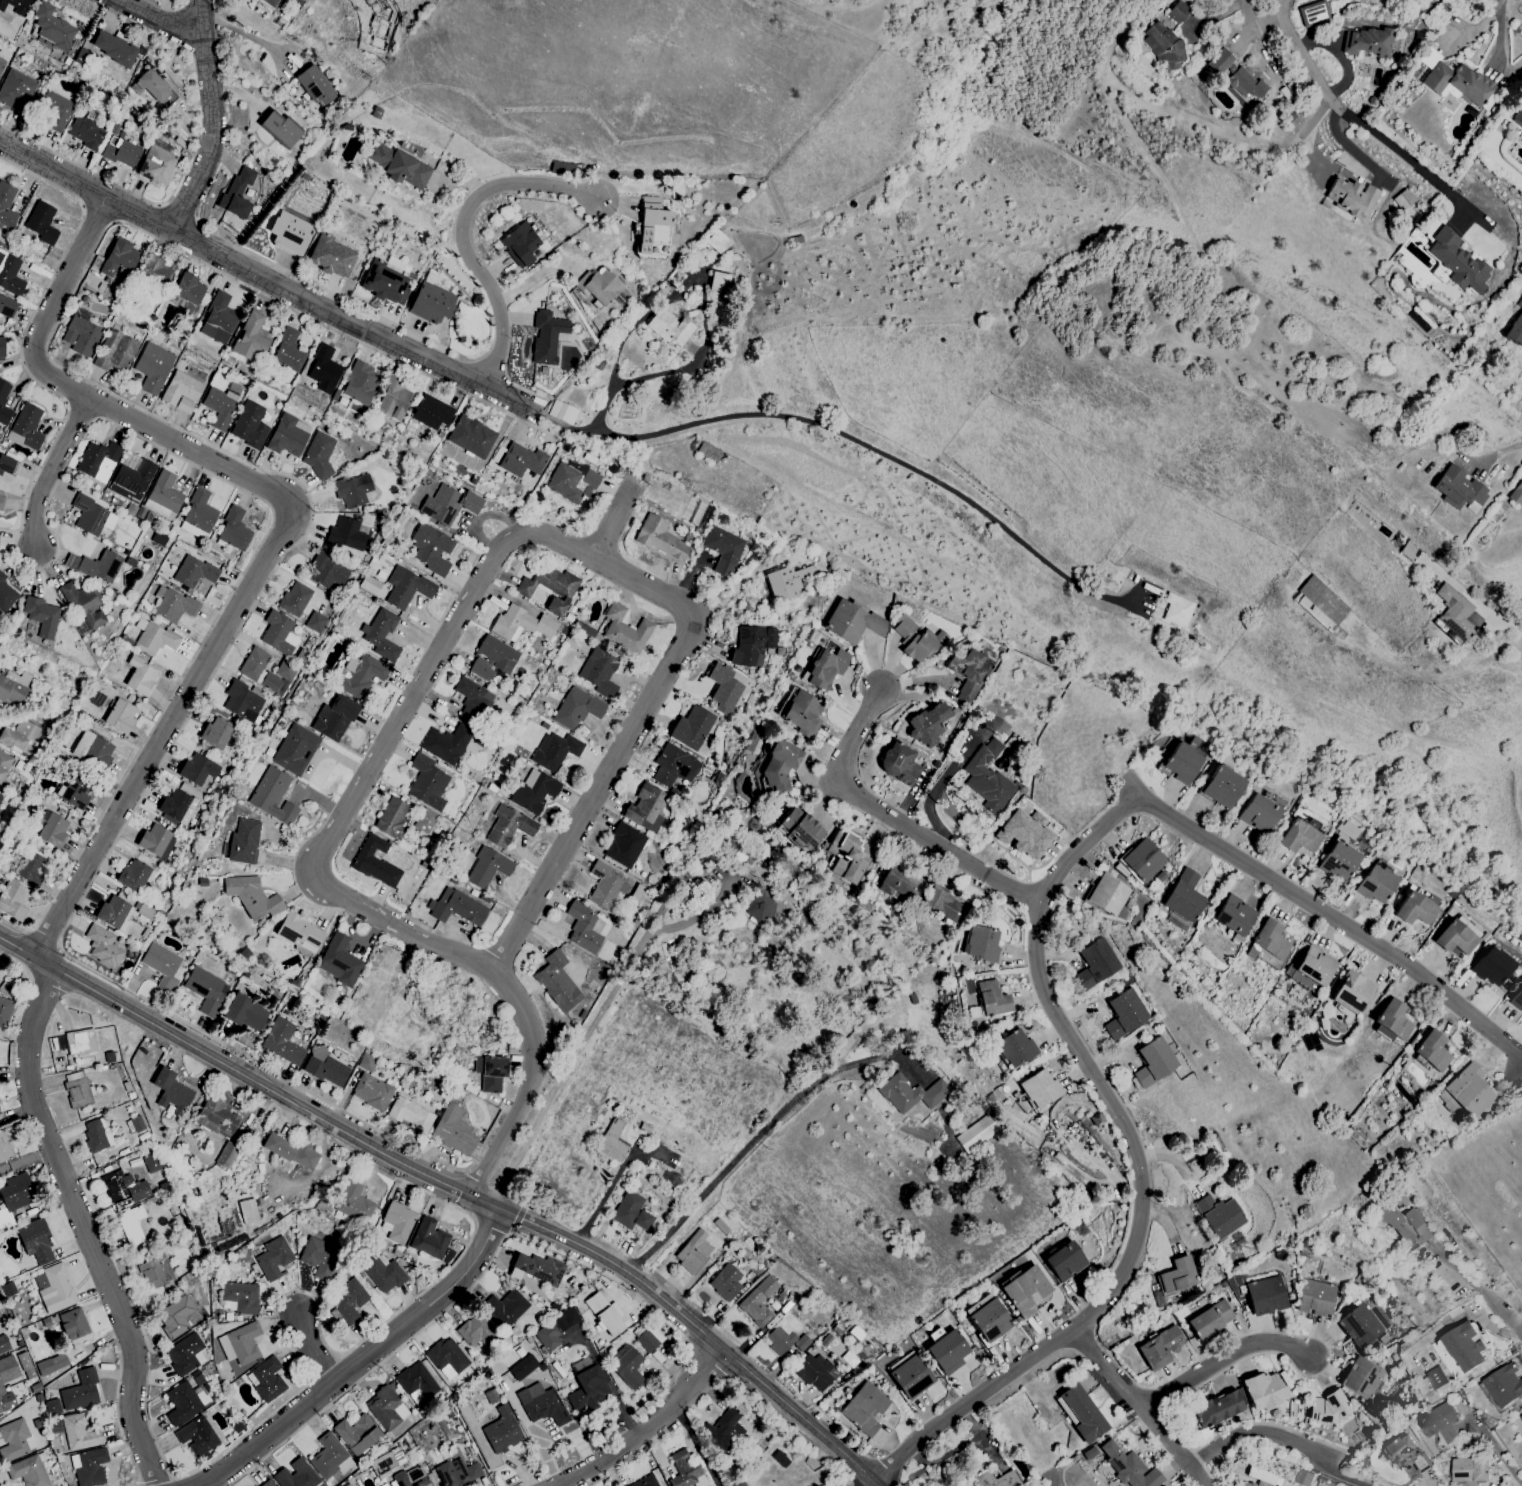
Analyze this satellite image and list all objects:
building: (270, 2)
building: (15, 6)
road: (1223, 7)
building: (1179, 14)
building: (1314, 15)
road: (162, 20)
building: (378, 23)
building: (52, 28)
building: (1369, 44)
road: (1499, 44)
building: (1166, 46)
building: (113, 49)
building: (1219, 62)
building: (1, 64)
building: (1423, 67)
building: (1456, 83)
building: (315, 87)
building: (1248, 88)
building: (155, 89)
building: (16, 90)
building: (54, 111)
road: (209, 119)
building: (1517, 119)
road: (1362, 128)
building: (280, 130)
building: (86, 133)
road: (1310, 135)
road: (1352, 152)
building: (120, 153)
building: (158, 163)
building: (397, 166)
road: (83, 168)
building: (237, 193)
building: (1355, 200)
building: (6, 208)
road: (177, 216)
building: (41, 223)
building: (652, 230)
road: (466, 238)
building: (519, 244)
building: (331, 257)
building: (118, 258)
building: (1458, 263)
building: (153, 273)
building: (9, 275)
road: (535, 275)
building: (383, 283)
building: (718, 283)
building: (599, 286)
road: (321, 289)
building: (185, 293)
building: (431, 304)
building: (1520, 305)
building: (6, 307)
road: (705, 314)
building: (216, 320)
building: (668, 329)
building: (1515, 334)
building: (80, 335)
building: (250, 337)
building: (546, 337)
building: (1, 347)
road: (442, 347)
building: (287, 351)
building: (114, 352)
building: (152, 368)
building: (322, 371)
building: (359, 384)
building: (180, 392)
building: (3, 396)
building: (392, 400)
building: (561, 412)
building: (431, 413)
road: (105, 422)
building: (248, 425)
building: (25, 428)
road: (568, 429)
building: (288, 436)
building: (470, 437)
building: (708, 452)
building: (318, 455)
building: (97, 461)
building: (520, 461)
building: (7, 466)
road: (49, 475)
building: (130, 478)
building: (571, 483)
building: (350, 492)
building: (1461, 492)
building: (162, 497)
building: (1517, 497)
building: (1, 503)
building: (448, 505)
building: (198, 514)
road: (615, 522)
road: (306, 528)
building: (233, 530)
building: (345, 535)
building: (660, 539)
building: (431, 550)
building: (722, 550)
building: (1411, 553)
building: (95, 566)
building: (193, 572)
building: (326, 573)
road: (744, 581)
building: (788, 581)
building: (549, 588)
building: (407, 589)
building: (5, 596)
building: (294, 599)
building: (1321, 605)
building: (174, 606)
building: (1177, 611)
building: (41, 617)
building: (1460, 617)
building: (315, 623)
building: (851, 623)
building: (521, 624)
building: (624, 630)
building: (278, 634)
building: (380, 635)
building: (154, 640)
building: (915, 640)
building: (751, 646)
building: (491, 659)
building: (825, 669)
building: (258, 670)
building: (284, 672)
building: (599, 672)
building: (969, 674)
building: (359, 676)
building: (140, 677)
building: (13, 688)
building: (723, 689)
building: (472, 701)
building: (242, 702)
building: (576, 709)
building: (801, 714)
building: (119, 716)
building: (334, 718)
building: (928, 725)
building: (692, 730)
building: (215, 733)
building: (20, 738)
building: (445, 744)
road: (621, 748)
building: (294, 750)
building: (92, 751)
building: (554, 751)
road: (376, 757)
building: (1181, 763)
building: (4, 764)
building: (779, 765)
building: (898, 765)
building: (673, 766)
road: (145, 770)
building: (197, 770)
building: (986, 778)
road: (945, 781)
building: (427, 784)
building: (1221, 787)
building: (533, 791)
building: (74, 792)
building: (0, 796)
building: (272, 796)
building: (176, 808)
building: (646, 808)
building: (1257, 814)
building: (390, 817)
road: (893, 818)
building: (424, 821)
building: (508, 827)
building: (799, 830)
building: (52, 831)
building: (1024, 834)
building: (1298, 837)
building: (155, 842)
building: (242, 842)
building: (623, 846)
building: (850, 859)
building: (1143, 861)
building: (374, 862)
building: (1338, 862)
building: (30, 868)
building: (487, 868)
building: (134, 876)
building: (1375, 885)
building: (606, 886)
building: (896, 886)
building: (1107, 895)
building: (251, 897)
building: (1183, 897)
building: (12, 900)
building: (943, 905)
building: (456, 908)
building: (758, 909)
building: (1414, 910)
building: (114, 912)
building: (1233, 917)
road: (1337, 918)
building: (582, 928)
building: (298, 934)
road: (45, 938)
building: (1453, 938)
building: (980, 943)
building: (1268, 945)
building: (102, 947)
building: (339, 961)
building: (1095, 964)
building: (161, 967)
building: (1490, 967)
building: (1312, 969)
building: (557, 983)
building: (206, 991)
building: (1352, 991)
building: (991, 999)
building: (1517, 999)
building: (4, 1012)
building: (245, 1013)
building: (1124, 1014)
building: (1391, 1023)
road: (579, 1037)
building: (1309, 1041)
building: (79, 1042)
building: (282, 1042)
building: (1014, 1049)
building: (1431, 1051)
road: (1080, 1057)
building: (1153, 1062)
building: (366, 1063)
building: (324, 1068)
building: (492, 1074)
building: (1039, 1089)
building: (76, 1090)
road: (526, 1090)
building: (1469, 1091)
building: (371, 1092)
building: (170, 1093)
building: (909, 1094)
building: (409, 1115)
building: (216, 1118)
building: (134, 1125)
building: (453, 1131)
road: (763, 1132)
building: (96, 1135)
building: (974, 1135)
road: (362, 1138)
building: (611, 1143)
building: (291, 1152)
road: (482, 1153)
building: (225, 1156)
building: (153, 1165)
building: (123, 1187)
building: (16, 1192)
building: (353, 1204)
road: (597, 1206)
road: (105, 1209)
building: (247, 1212)
building: (630, 1212)
building: (1219, 1216)
road: (517, 1217)
building: (396, 1223)
building: (1400, 1224)
building: (131, 1225)
road: (510, 1233)
building: (428, 1239)
building: (35, 1241)
building: (693, 1252)
building: (1281, 1256)
building: (273, 1258)
building: (318, 1258)
building: (1064, 1262)
road: (1452, 1264)
building: (536, 1269)
building: (151, 1271)
building: (383, 1274)
building: (1177, 1277)
building: (725, 1283)
building: (53, 1289)
building: (1025, 1291)
building: (1267, 1296)
building: (0, 1298)
building: (240, 1298)
building: (1316, 1298)
building: (348, 1302)
building: (758, 1302)
building: (505, 1308)
road: (1499, 1311)
building: (606, 1315)
road: (439, 1316)
building: (175, 1317)
building: (989, 1321)
building: (1211, 1321)
building: (72, 1324)
building: (1361, 1326)
building: (555, 1329)
building: (477, 1332)
building: (784, 1340)
building: (646, 1342)
building: (3, 1344)
building: (240, 1344)
road: (296, 1347)
building: (1466, 1347)
building: (1159, 1349)
road: (316, 1350)
building: (946, 1352)
road: (1275, 1354)
building: (184, 1355)
building: (446, 1359)
road: (1222, 1359)
road: (365, 1361)
building: (51, 1365)
building: (25, 1366)
building: (626, 1367)
building: (522, 1368)
building: (816, 1372)
building: (910, 1378)
building: (1437, 1378)
building: (1362, 1379)
building: (265, 1380)
building: (416, 1381)
building: (1503, 1385)
building: (1, 1388)
building: (587, 1389)
road: (1148, 1389)
building: (1263, 1391)
building: (75, 1395)
building: (1240, 1396)
building: (201, 1397)
road: (1130, 1399)
road: (1159, 1402)
building: (181, 1404)
road: (969, 1404)
building: (541, 1405)
building: (1328, 1408)
building: (386, 1409)
building: (864, 1409)
building: (1216, 1410)
building: (1293, 1411)
road: (797, 1414)
building: (1081, 1414)
building: (1275, 1414)
road: (118, 1415)
road: (1171, 1415)
building: (1521, 1417)
building: (1441, 1422)
road: (648, 1430)
building: (501, 1431)
building: (725, 1431)
building: (78, 1433)
building: (356, 1435)
building: (196, 1437)
road: (1280, 1438)
building: (14, 1440)
building: (1089, 1452)
road: (1499, 1453)
building: (1405, 1454)
building: (329, 1458)
road: (1199, 1459)
building: (781, 1460)
building: (88, 1467)
building: (1128, 1467)
building: (1470, 1469)
building: (685, 1471)
building: (27, 1472)
building: (457, 1473)
building: (295, 1475)
road: (1194, 1475)
road: (1210, 1476)
building: (409, 1478)
building: (1303, 1478)
building: (995, 1480)
road: (845, 1481)
building: (736, 1482)
building: (267, 1483)
building: (1284, 1483)
building: (1248, 1484)
building: (1262, 1484)
building: (347, 1485)
road: (557, 1485)

